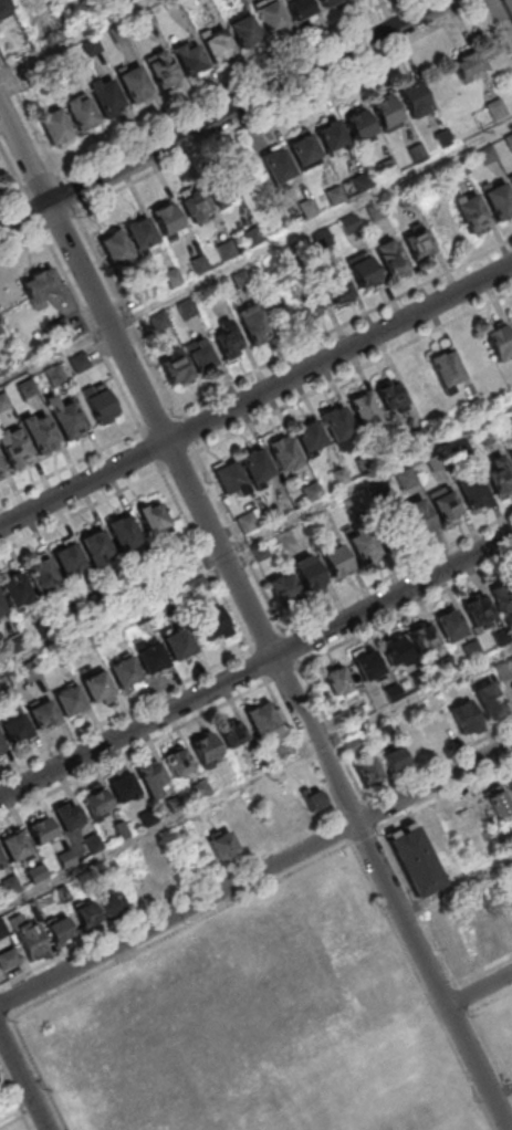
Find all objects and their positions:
building: (194, 0)
building: (327, 2)
building: (508, 7)
building: (4, 9)
building: (300, 9)
building: (270, 15)
road: (501, 20)
building: (242, 29)
road: (75, 39)
building: (215, 41)
building: (90, 45)
building: (189, 57)
building: (468, 65)
building: (161, 71)
building: (133, 83)
road: (221, 85)
building: (106, 95)
building: (415, 100)
road: (285, 106)
building: (497, 111)
building: (80, 112)
road: (28, 114)
building: (386, 114)
road: (221, 115)
building: (55, 127)
building: (361, 128)
building: (331, 136)
building: (445, 139)
building: (509, 143)
building: (305, 154)
building: (418, 155)
building: (488, 156)
road: (11, 165)
building: (278, 167)
building: (388, 169)
building: (459, 170)
road: (39, 179)
building: (510, 179)
building: (363, 182)
road: (66, 191)
road: (11, 193)
building: (236, 193)
building: (336, 197)
building: (406, 198)
building: (498, 200)
building: (195, 207)
road: (32, 208)
building: (310, 210)
building: (378, 212)
building: (470, 212)
building: (167, 220)
road: (60, 221)
building: (351, 224)
building: (140, 234)
building: (254, 238)
road: (21, 240)
building: (324, 240)
building: (419, 243)
building: (115, 248)
road: (272, 248)
building: (227, 252)
building: (296, 252)
building: (391, 258)
building: (200, 266)
building: (363, 270)
building: (173, 279)
building: (242, 281)
building: (336, 285)
building: (40, 289)
building: (146, 295)
building: (215, 296)
building: (307, 301)
building: (188, 310)
road: (127, 313)
building: (511, 318)
building: (159, 323)
building: (252, 323)
road: (344, 326)
building: (0, 329)
road: (92, 331)
building: (63, 332)
building: (228, 339)
building: (499, 342)
building: (199, 354)
building: (81, 364)
building: (175, 367)
building: (446, 370)
road: (354, 374)
building: (55, 377)
building: (28, 390)
building: (387, 394)
road: (255, 399)
building: (98, 402)
building: (4, 404)
building: (476, 408)
building: (364, 410)
building: (67, 420)
building: (510, 425)
building: (337, 426)
building: (40, 433)
road: (187, 433)
building: (310, 437)
building: (489, 437)
building: (422, 438)
building: (13, 449)
road: (151, 451)
building: (283, 454)
building: (511, 456)
building: (367, 464)
building: (436, 464)
road: (71, 467)
building: (254, 467)
building: (1, 470)
building: (500, 477)
building: (229, 478)
building: (341, 479)
building: (407, 480)
building: (380, 492)
building: (313, 493)
building: (474, 494)
building: (443, 503)
building: (354, 506)
road: (81, 513)
building: (415, 517)
building: (154, 519)
building: (123, 531)
road: (255, 540)
road: (241, 544)
building: (95, 545)
building: (367, 545)
building: (335, 558)
building: (69, 559)
building: (177, 564)
building: (307, 573)
building: (42, 574)
building: (154, 574)
road: (399, 575)
building: (283, 587)
building: (126, 588)
building: (198, 588)
building: (15, 590)
building: (502, 596)
building: (100, 603)
building: (168, 603)
building: (1, 610)
road: (407, 611)
building: (479, 611)
building: (73, 616)
building: (142, 616)
road: (254, 616)
building: (449, 625)
building: (211, 626)
building: (46, 630)
building: (114, 630)
building: (424, 638)
building: (18, 644)
building: (87, 645)
building: (179, 647)
road: (294, 649)
building: (396, 651)
building: (59, 658)
building: (0, 661)
building: (151, 661)
building: (367, 665)
road: (255, 667)
building: (31, 672)
building: (124, 674)
building: (337, 682)
building: (511, 687)
building: (97, 689)
building: (489, 701)
building: (70, 703)
building: (467, 716)
building: (43, 718)
building: (264, 721)
building: (435, 728)
building: (18, 732)
building: (232, 734)
building: (417, 744)
building: (2, 747)
building: (207, 750)
building: (394, 758)
building: (177, 763)
building: (366, 768)
building: (150, 777)
road: (255, 780)
building: (201, 789)
building: (130, 795)
building: (314, 799)
building: (495, 801)
building: (96, 802)
building: (66, 815)
building: (40, 828)
building: (436, 834)
building: (234, 839)
building: (14, 846)
building: (65, 858)
building: (415, 859)
building: (0, 864)
building: (36, 872)
road: (255, 873)
building: (10, 885)
road: (457, 886)
building: (511, 903)
building: (111, 904)
building: (86, 914)
building: (59, 930)
building: (1, 931)
building: (487, 934)
building: (29, 937)
building: (8, 959)
road: (480, 991)
building: (209, 1015)
road: (23, 1082)
road: (503, 1097)
road: (18, 1116)

